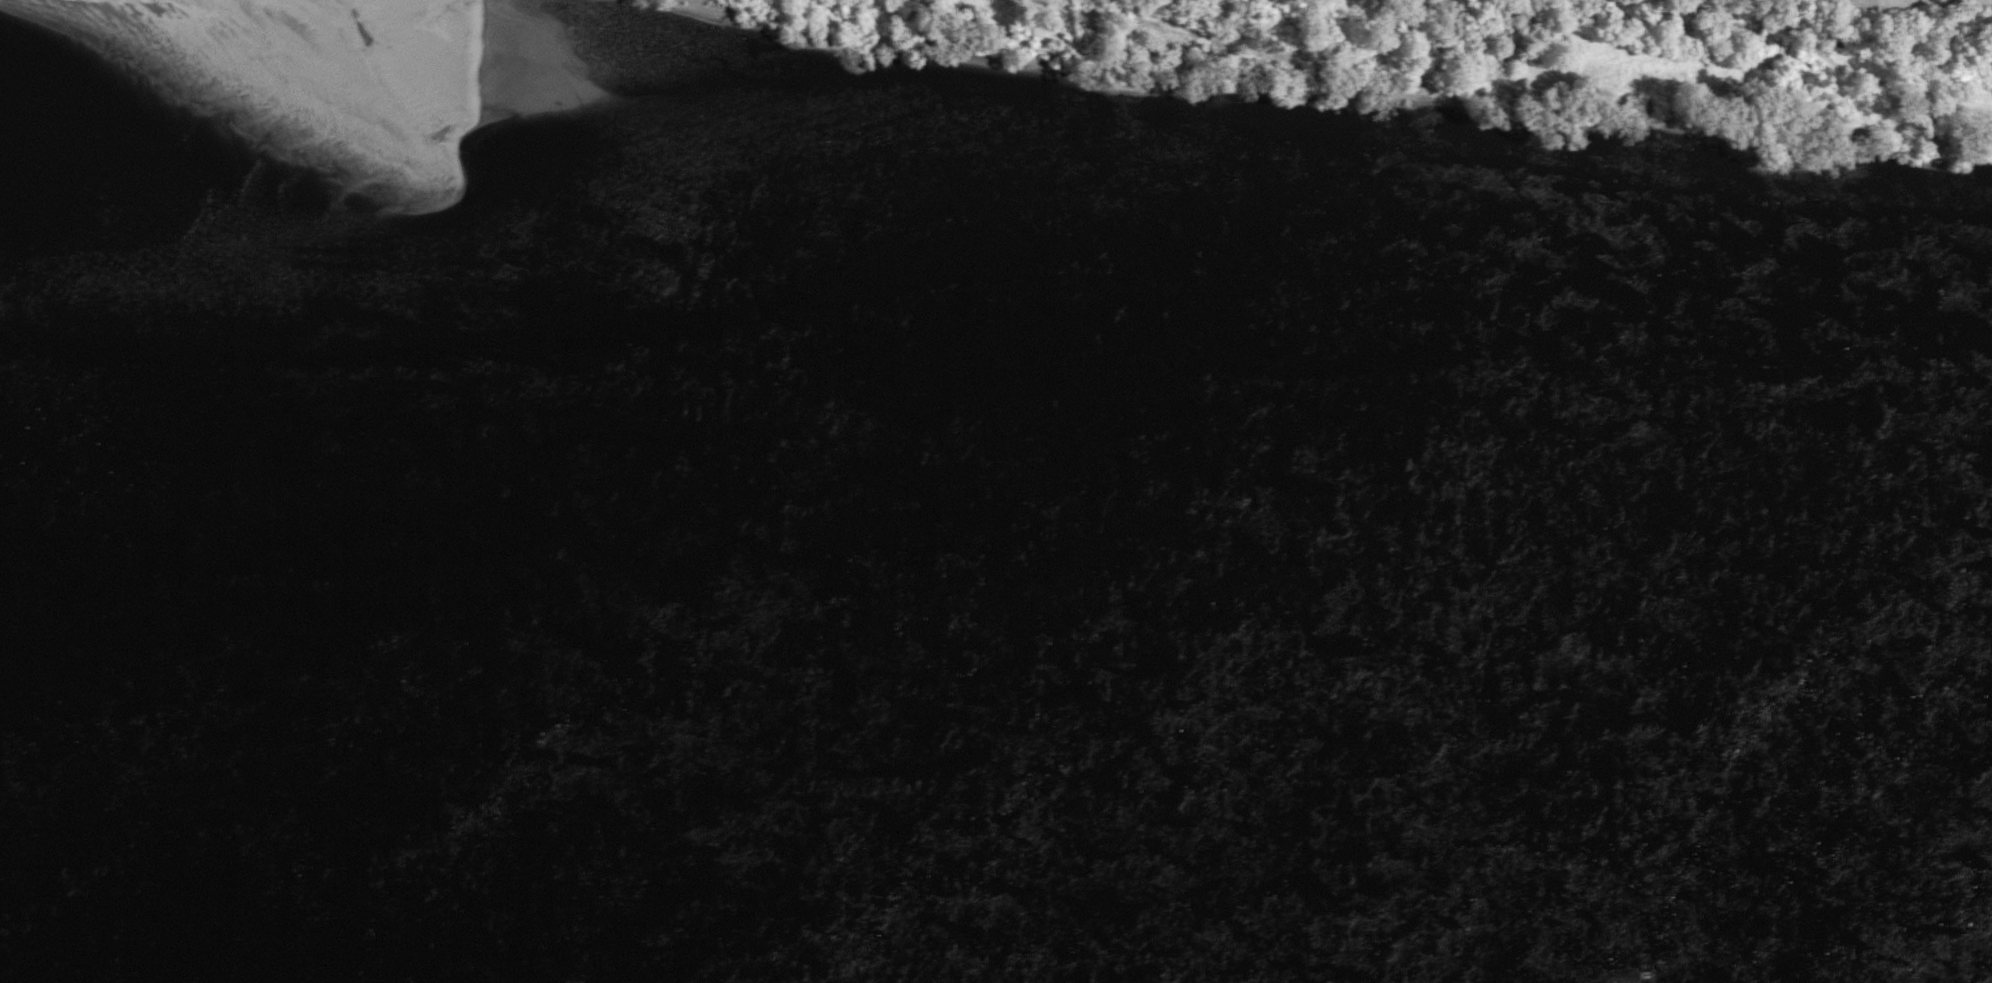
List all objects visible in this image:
road: (1239, 39)
river: (1490, 829)
river: (530, 904)

